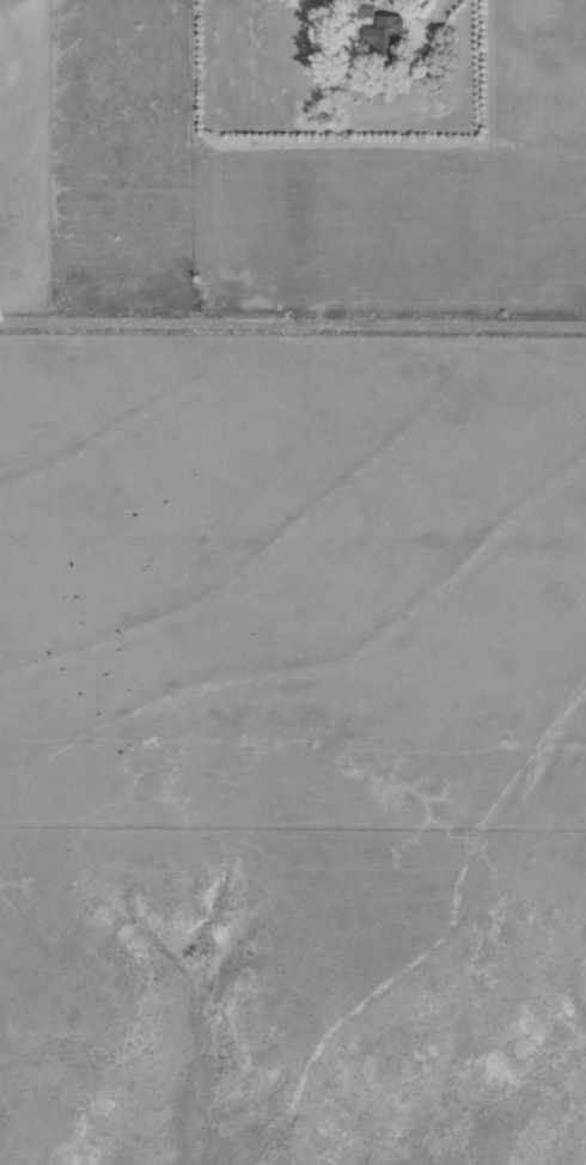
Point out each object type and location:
building: (361, 8)
building: (383, 37)

